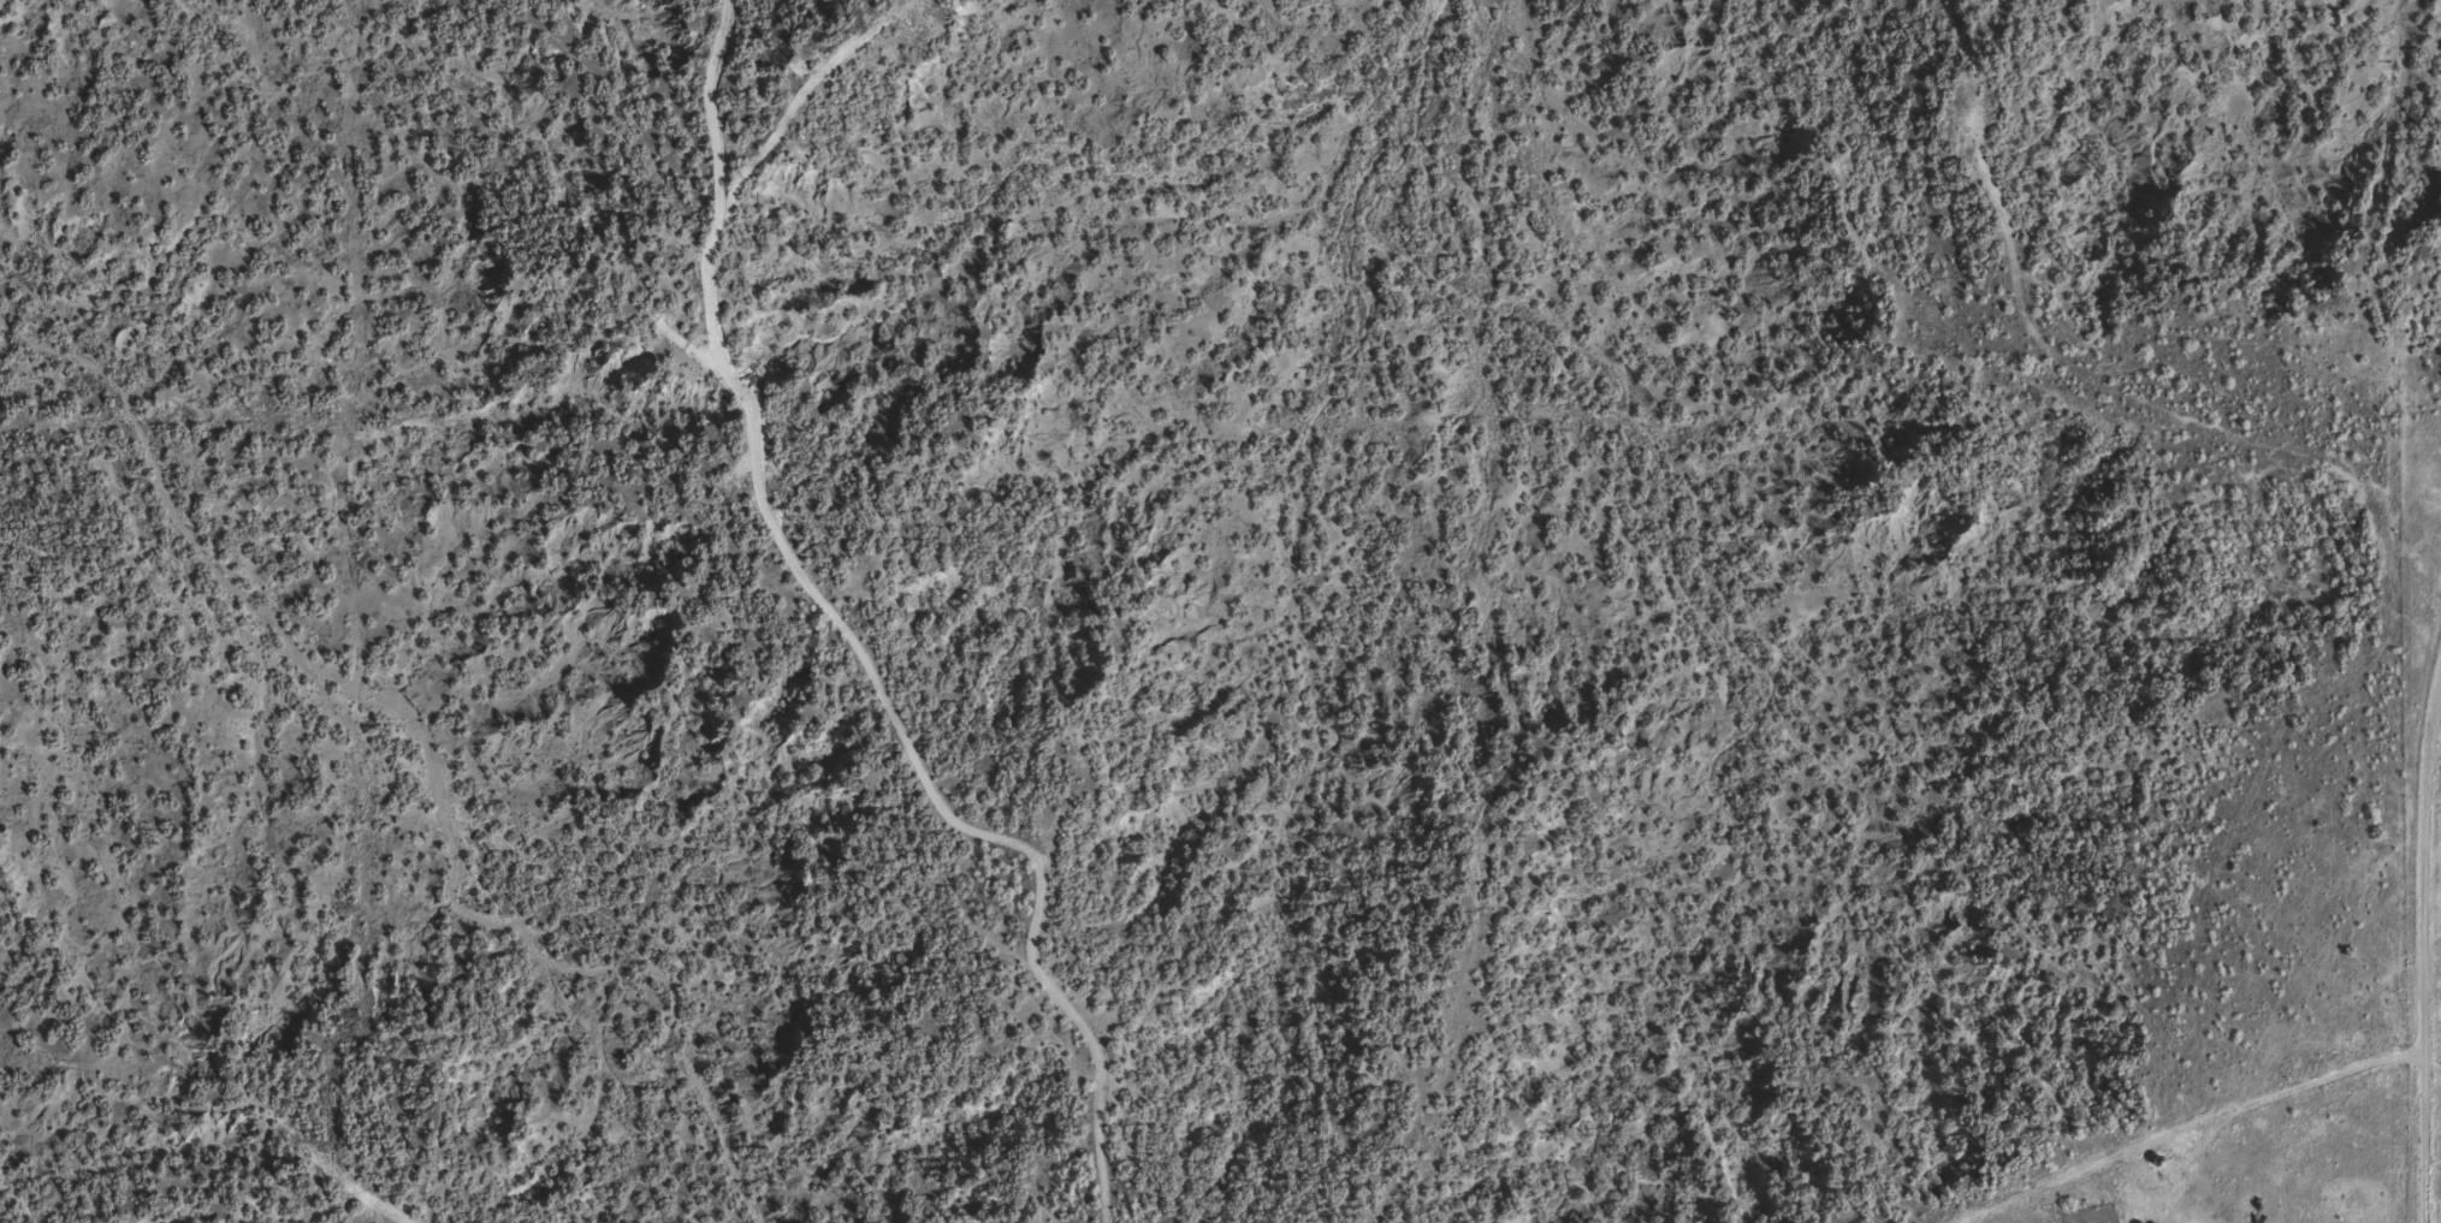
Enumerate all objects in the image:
road: (2429, 966)

